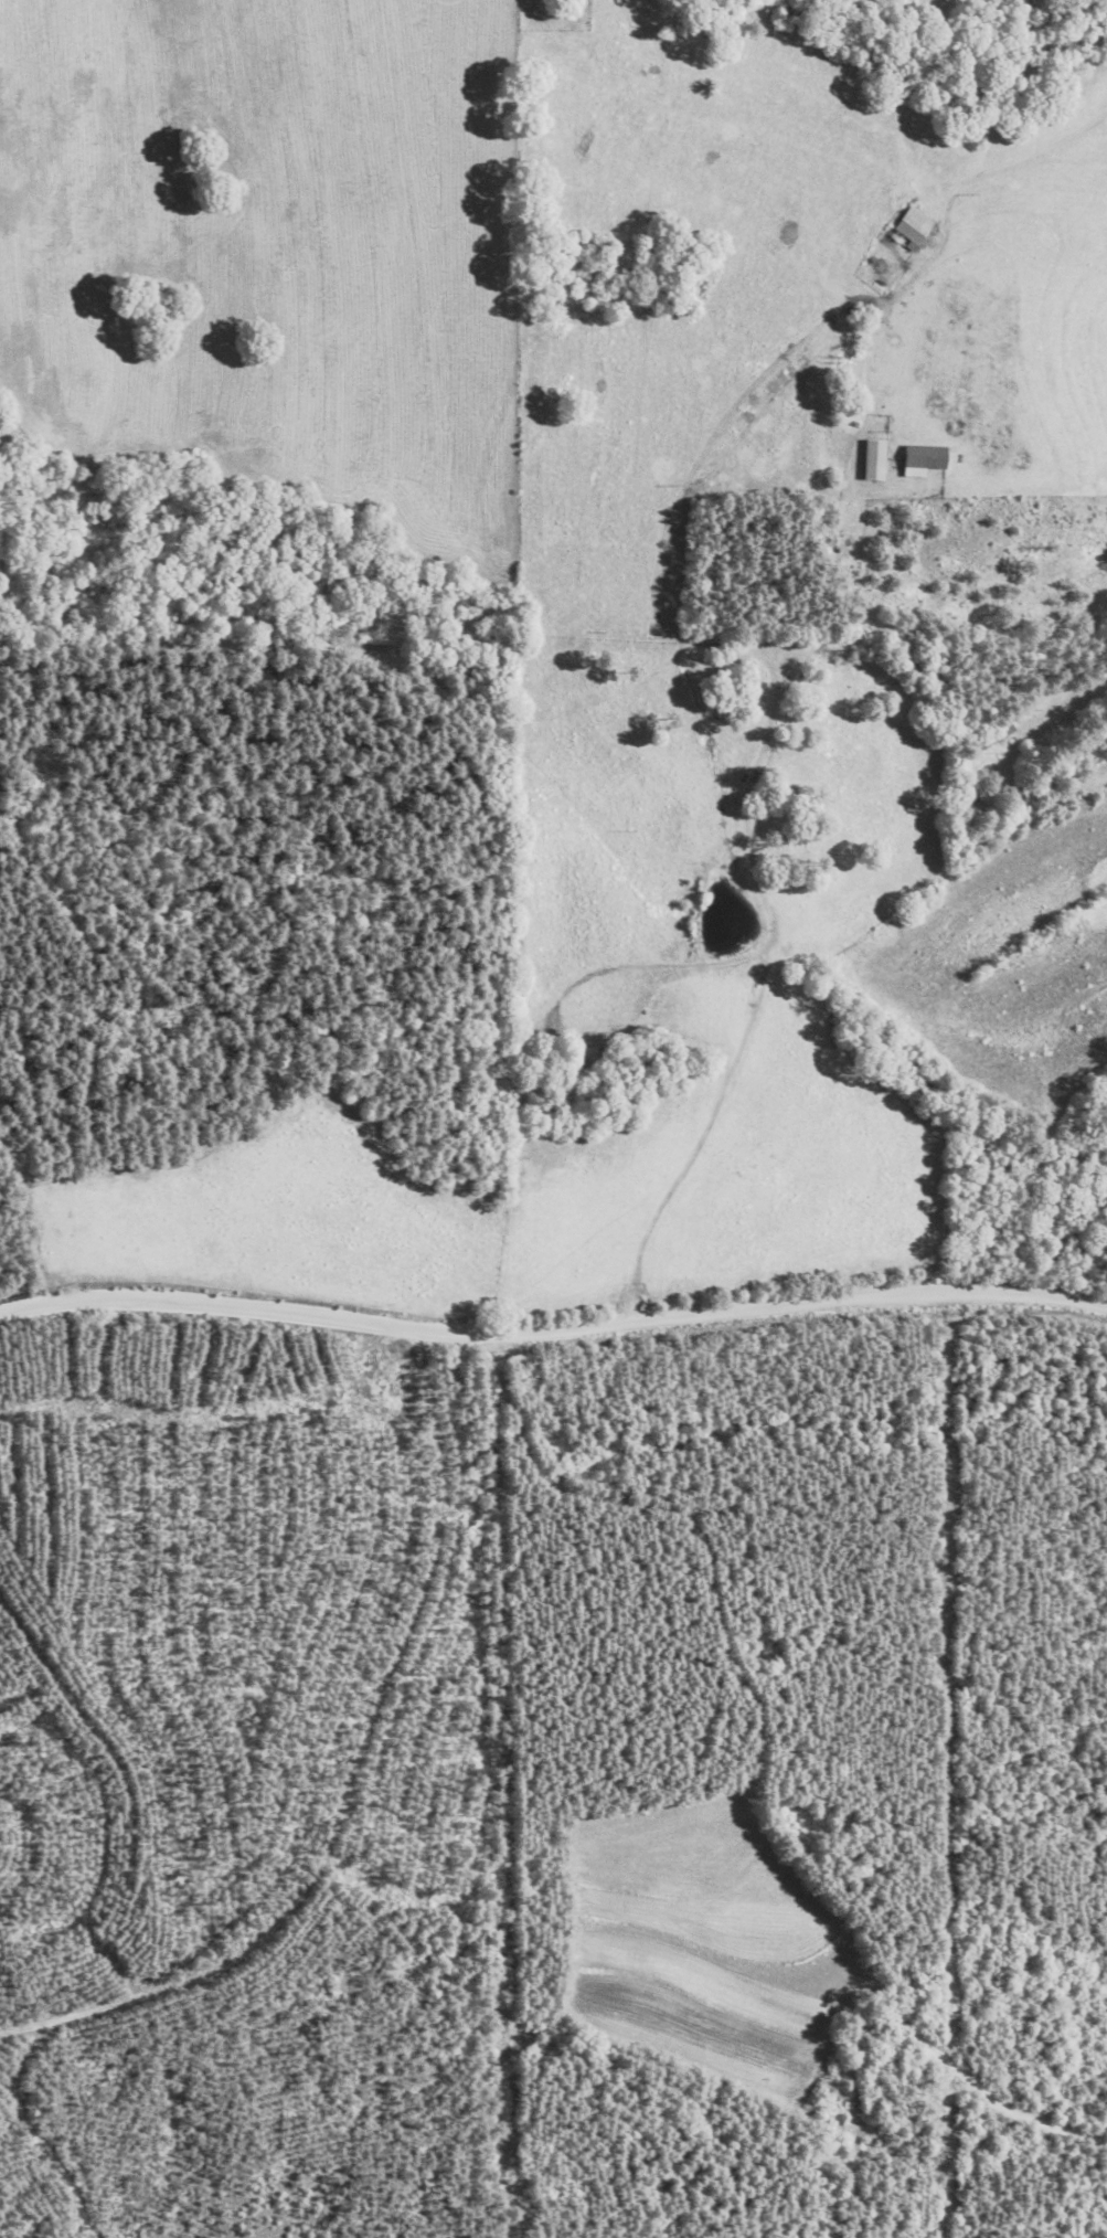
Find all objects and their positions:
building: (914, 229)
crop: (426, 259)
building: (875, 460)
building: (925, 460)
road: (769, 594)
building: (993, 740)
road: (829, 757)
road: (645, 831)
building: (585, 1053)
road: (552, 1327)
road: (343, 1775)
road: (168, 2122)

